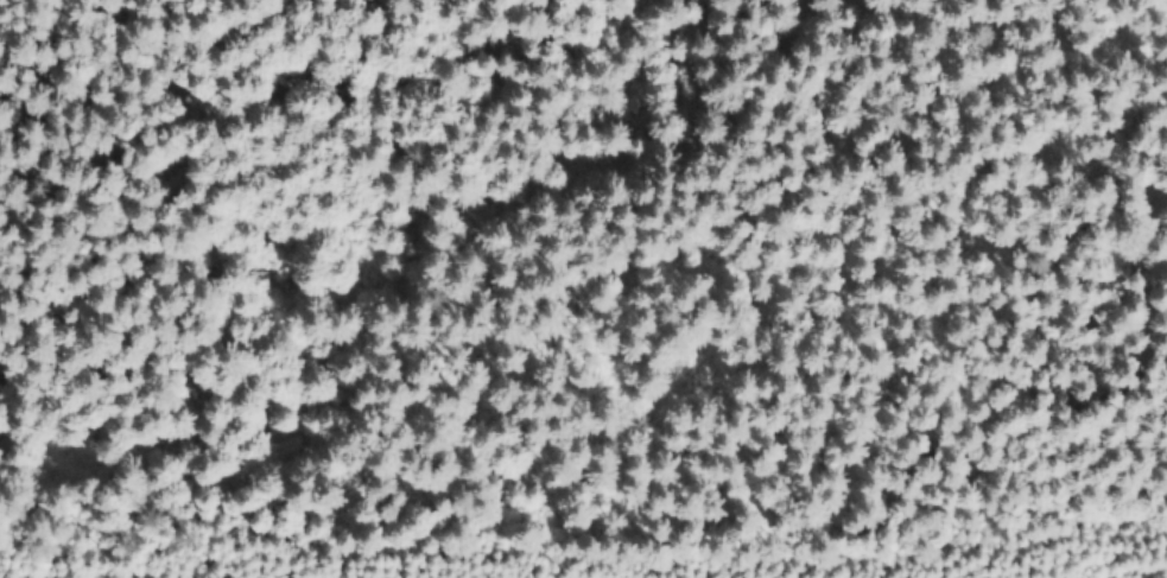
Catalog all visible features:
road: (1019, 144)

